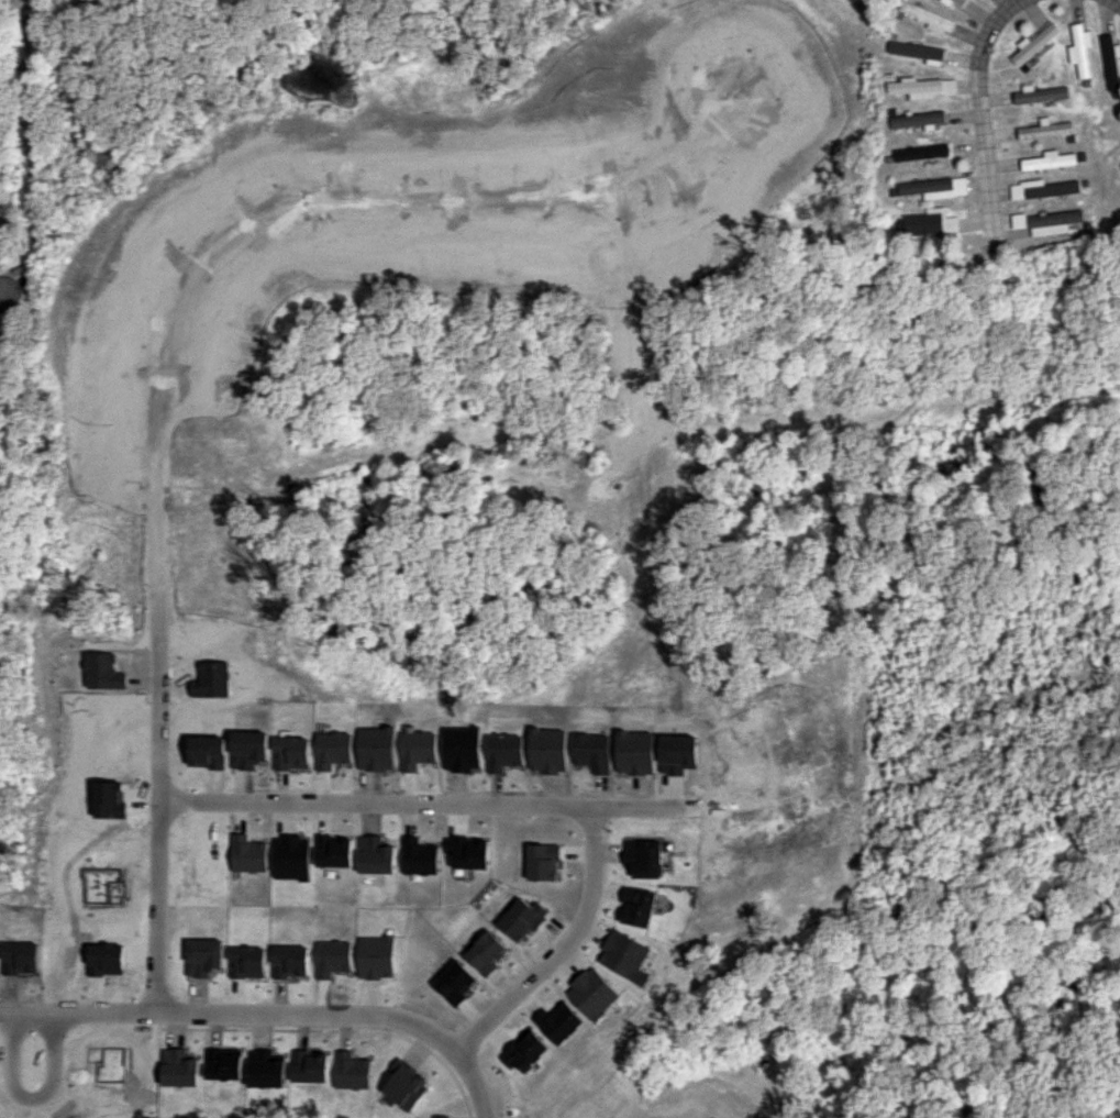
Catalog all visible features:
building: (958, 2)
road: (1112, 4)
building: (927, 16)
building: (1032, 44)
building: (1079, 49)
building: (917, 52)
building: (1109, 62)
building: (921, 87)
building: (1040, 95)
building: (917, 119)
road: (980, 120)
building: (1045, 129)
building: (920, 152)
building: (1047, 160)
building: (935, 187)
building: (1042, 188)
building: (1020, 220)
building: (931, 222)
building: (1055, 222)
road: (200, 328)
road: (426, 804)
building: (636, 906)
building: (523, 918)
road: (563, 944)
building: (487, 953)
building: (625, 954)
building: (596, 993)
road: (270, 1011)
building: (529, 1050)
road: (85, 1066)
building: (407, 1086)
road: (3, 1113)
building: (444, 1116)

